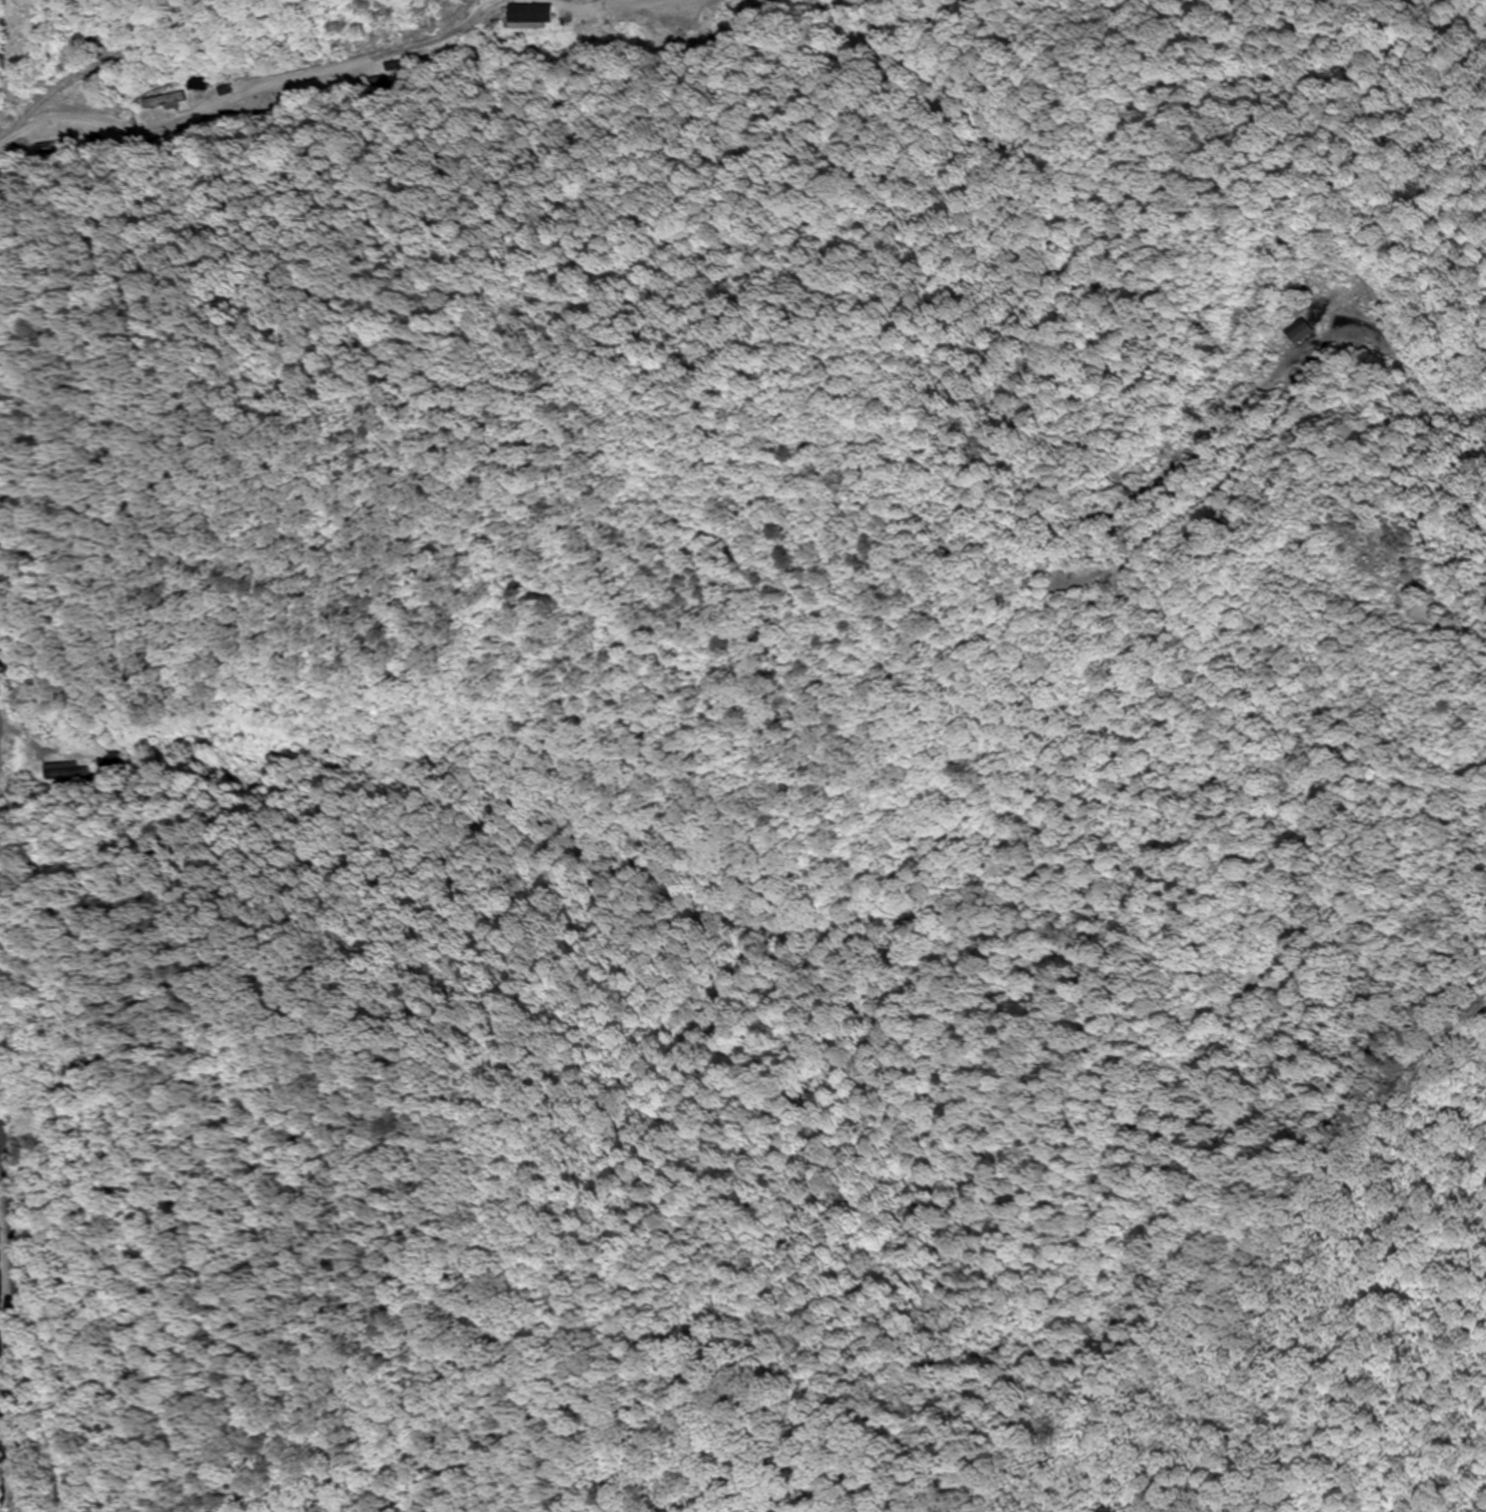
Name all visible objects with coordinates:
building: (537, 14)
building: (198, 84)
building: (161, 100)
building: (1306, 331)
building: (102, 761)
building: (63, 771)
road: (671, 865)
road: (16, 1322)

